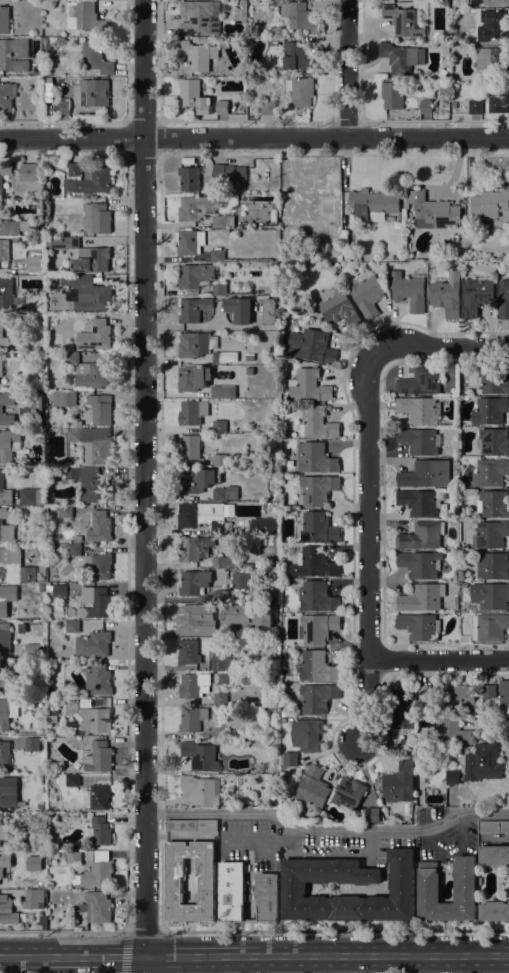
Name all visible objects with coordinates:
building: (444, 0)
building: (496, 3)
building: (241, 11)
building: (82, 16)
building: (299, 16)
building: (199, 17)
building: (447, 17)
building: (4, 20)
building: (404, 21)
building: (492, 26)
building: (45, 40)
building: (61, 41)
building: (14, 54)
building: (197, 55)
building: (95, 57)
building: (401, 57)
building: (296, 58)
building: (493, 61)
building: (34, 68)
road: (346, 68)
building: (442, 73)
building: (48, 80)
building: (96, 91)
building: (300, 91)
building: (392, 95)
building: (7, 96)
building: (194, 96)
building: (499, 101)
building: (454, 105)
building: (63, 107)
building: (222, 107)
building: (267, 107)
building: (426, 107)
building: (475, 107)
road: (254, 137)
building: (74, 169)
building: (28, 172)
building: (230, 173)
building: (189, 178)
building: (1, 180)
building: (92, 181)
building: (490, 203)
building: (373, 205)
building: (195, 207)
building: (307, 209)
building: (432, 211)
building: (96, 218)
building: (223, 222)
building: (13, 225)
building: (190, 242)
building: (63, 243)
building: (4, 254)
building: (217, 255)
building: (334, 256)
building: (92, 261)
building: (36, 264)
building: (194, 278)
building: (219, 289)
building: (275, 289)
building: (409, 290)
building: (8, 293)
building: (366, 293)
building: (477, 295)
building: (445, 296)
building: (81, 297)
building: (504, 299)
building: (338, 307)
building: (193, 309)
building: (239, 309)
building: (270, 312)
building: (1, 327)
building: (95, 336)
building: (55, 339)
building: (197, 344)
building: (311, 346)
road: (439, 347)
building: (222, 358)
building: (1, 365)
building: (89, 372)
building: (193, 378)
building: (493, 380)
building: (422, 381)
building: (308, 386)
building: (223, 392)
building: (63, 398)
building: (1, 409)
building: (100, 409)
building: (419, 409)
building: (490, 411)
building: (192, 412)
building: (318, 423)
building: (219, 426)
building: (419, 440)
building: (493, 442)
building: (91, 443)
building: (8, 444)
building: (190, 447)
building: (316, 458)
building: (220, 460)
building: (289, 464)
building: (490, 472)
building: (425, 474)
building: (197, 480)
building: (85, 482)
road: (143, 486)
building: (317, 489)
building: (5, 493)
building: (224, 493)
building: (30, 496)
building: (419, 503)
building: (493, 503)
building: (65, 512)
building: (202, 517)
building: (99, 525)
building: (264, 525)
building: (317, 527)
building: (6, 528)
building: (490, 534)
building: (421, 536)
road: (370, 545)
building: (194, 548)
building: (74, 549)
building: (38, 551)
building: (219, 562)
building: (313, 563)
building: (420, 564)
building: (98, 566)
building: (493, 566)
building: (14, 567)
building: (42, 569)
building: (239, 581)
building: (194, 582)
building: (48, 585)
building: (41, 588)
building: (59, 590)
building: (220, 596)
building: (490, 596)
building: (316, 597)
building: (422, 598)
building: (4, 603)
building: (95, 603)
building: (194, 616)
building: (35, 623)
building: (419, 626)
building: (489, 626)
building: (72, 627)
building: (317, 628)
building: (228, 630)
building: (5, 638)
building: (93, 644)
building: (33, 650)
building: (188, 652)
road: (440, 658)
building: (218, 661)
building: (315, 666)
building: (6, 676)
building: (98, 681)
building: (194, 685)
building: (488, 691)
building: (427, 692)
building: (504, 696)
building: (220, 697)
building: (459, 697)
building: (316, 698)
building: (51, 700)
building: (402, 710)
building: (7, 713)
building: (89, 716)
building: (52, 718)
building: (192, 719)
building: (264, 730)
building: (220, 733)
building: (450, 733)
building: (307, 735)
building: (420, 739)
building: (32, 744)
building: (5, 753)
building: (200, 756)
building: (100, 757)
building: (290, 759)
building: (482, 763)
building: (452, 777)
building: (72, 780)
building: (399, 783)
building: (312, 788)
building: (201, 790)
building: (8, 792)
building: (348, 794)
building: (97, 796)
building: (372, 815)
building: (326, 818)
building: (191, 826)
building: (493, 826)
road: (326, 830)
road: (460, 831)
building: (99, 832)
road: (289, 835)
road: (428, 837)
road: (255, 840)
road: (369, 842)
road: (289, 849)
road: (329, 855)
building: (494, 855)
building: (74, 857)
building: (3, 863)
building: (96, 871)
road: (160, 872)
building: (174, 884)
building: (294, 884)
building: (231, 892)
building: (429, 893)
building: (34, 898)
building: (98, 907)
building: (7, 910)
building: (494, 911)
road: (335, 929)
road: (63, 931)
road: (144, 931)
road: (495, 954)
road: (359, 955)
road: (27, 956)
road: (99, 956)
road: (190, 956)
road: (415, 964)

